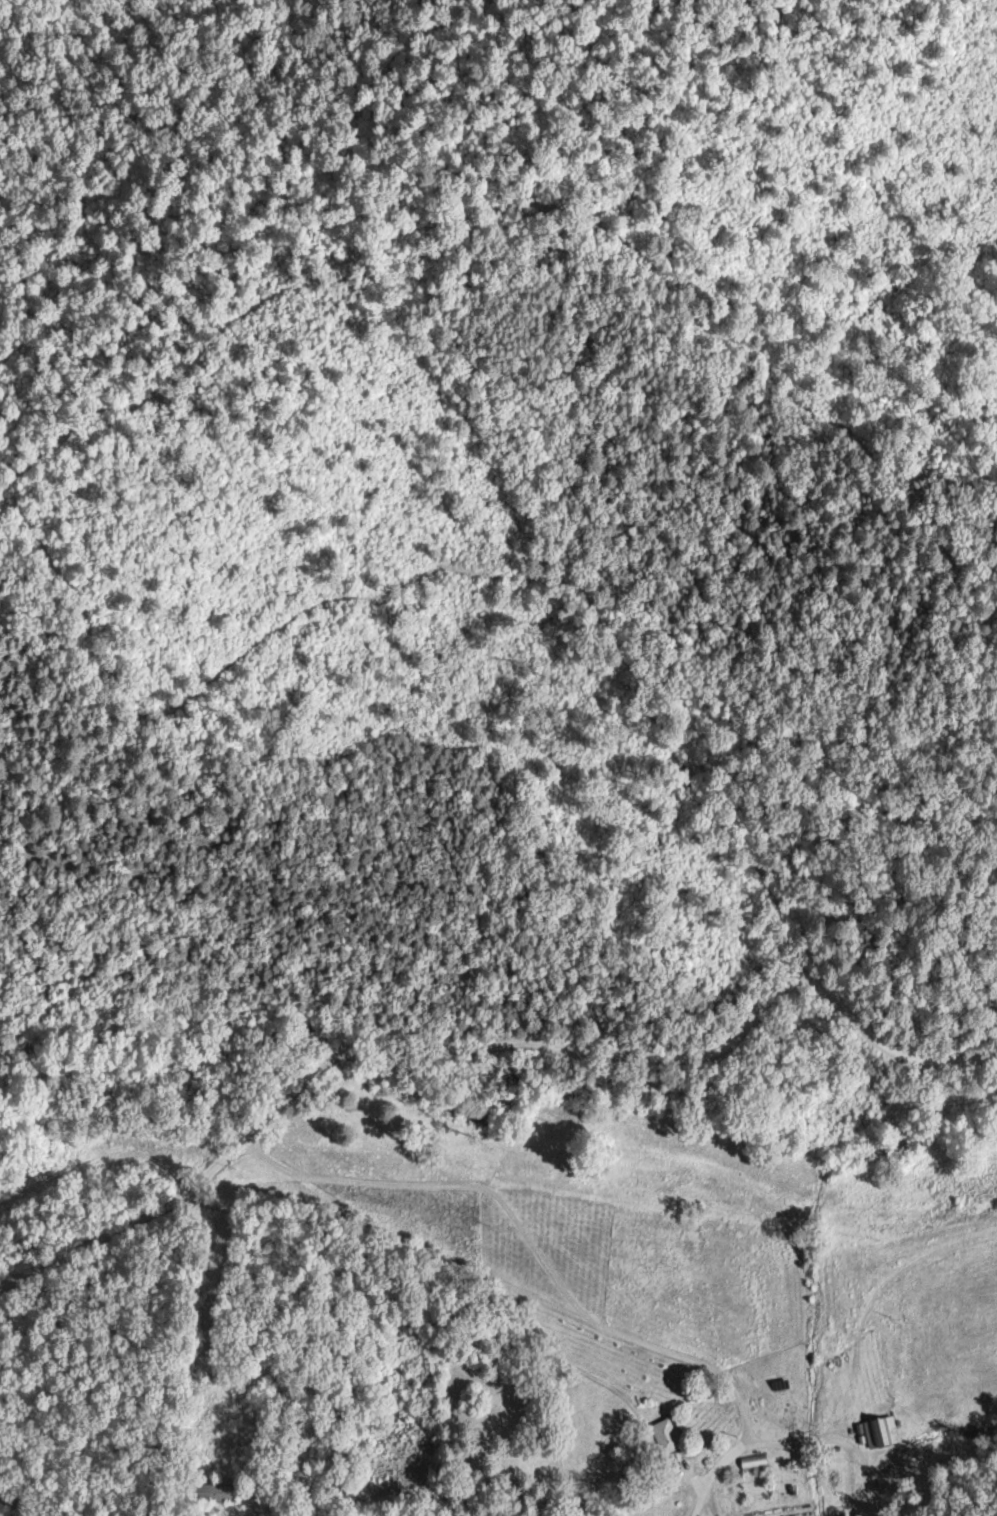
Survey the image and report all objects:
road: (480, 1042)
road: (269, 1213)
road: (643, 1342)
road: (509, 1383)
road: (350, 1426)
building: (883, 1430)
building: (233, 1492)

